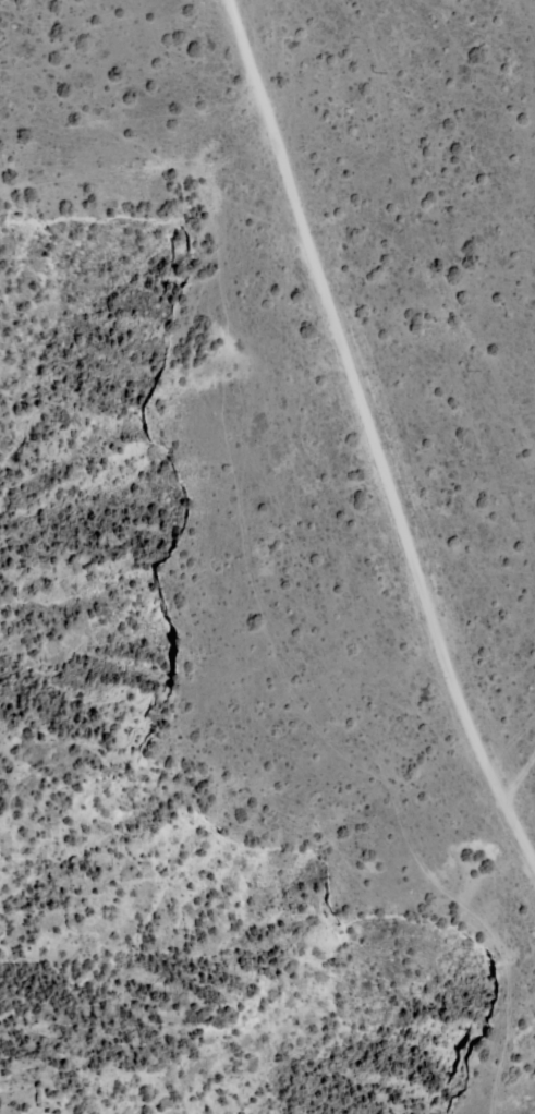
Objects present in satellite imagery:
road: (112, 171)
road: (255, 214)
road: (370, 436)
road: (288, 688)
road: (520, 777)

